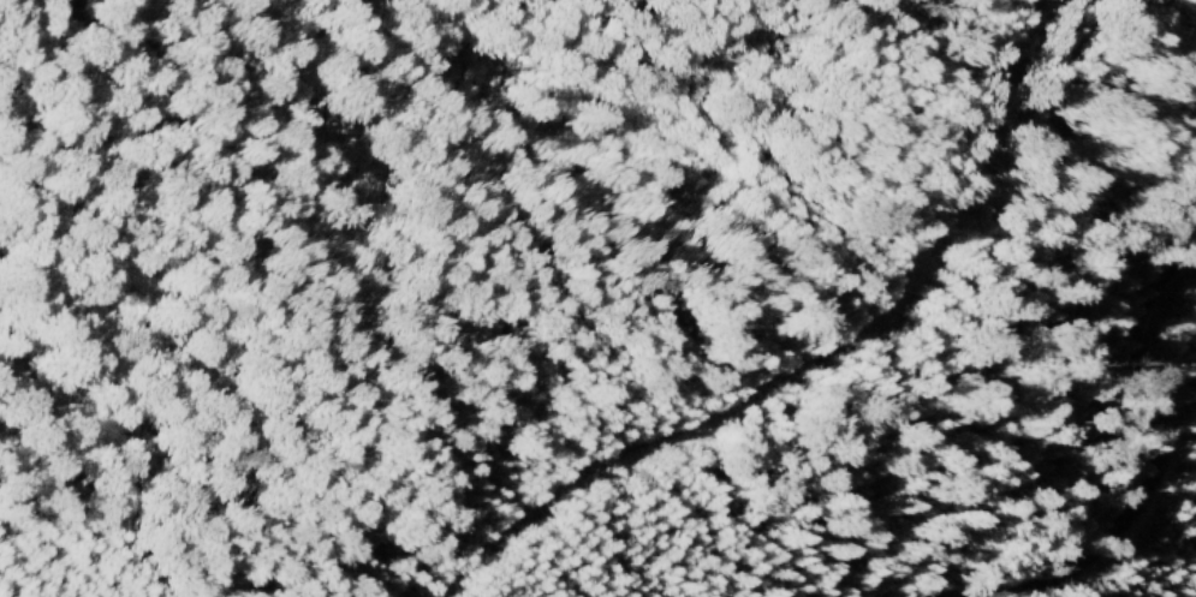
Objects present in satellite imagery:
road: (802, 366)
road: (1144, 458)

